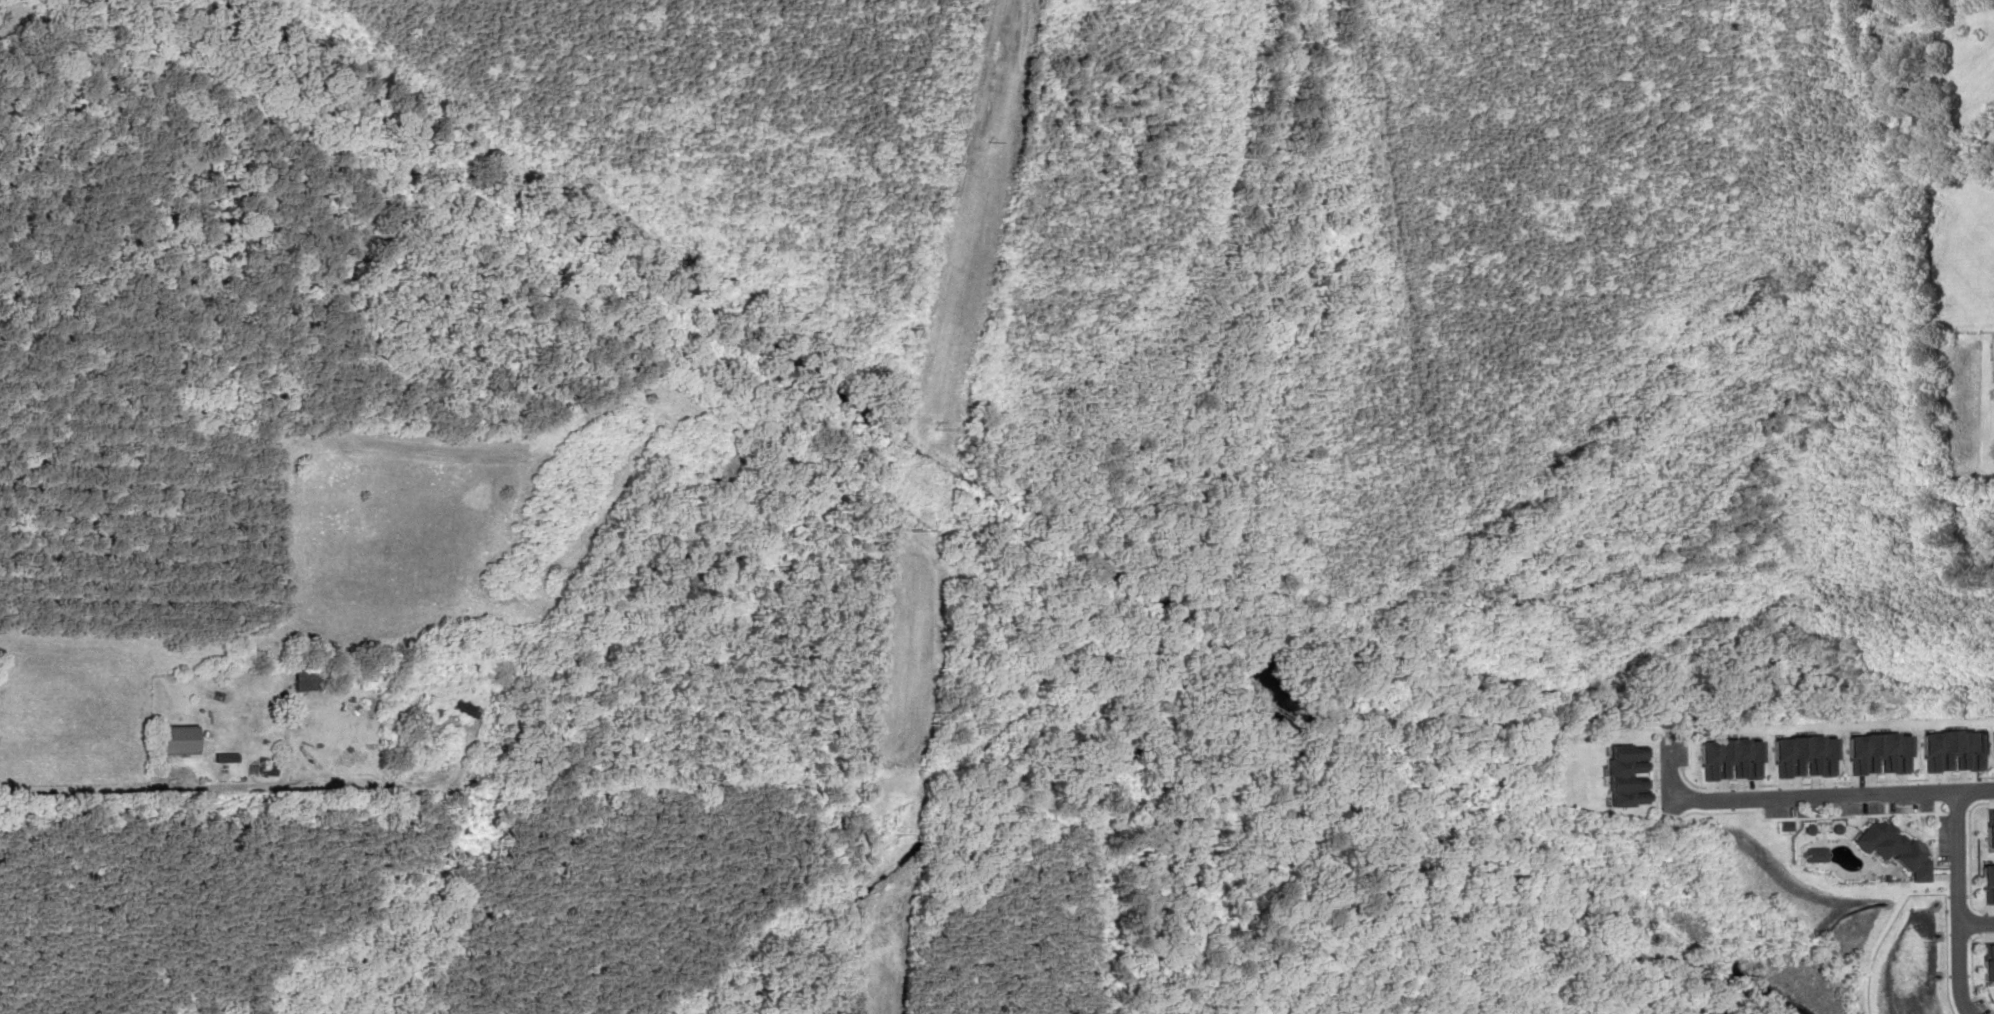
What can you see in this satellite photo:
building: (1925, 54)
building: (1993, 128)
building: (495, 664)
building: (307, 678)
building: (466, 706)
building: (177, 740)
building: (1993, 742)
building: (1950, 751)
building: (1875, 754)
building: (1801, 757)
building: (1726, 759)
building: (1622, 776)
road: (1807, 794)
building: (1990, 831)
building: (1893, 849)
road: (1960, 859)
building: (1988, 882)
road: (1978, 927)
road: (1879, 954)
building: (1988, 963)
road: (1964, 972)
road: (1965, 1006)

